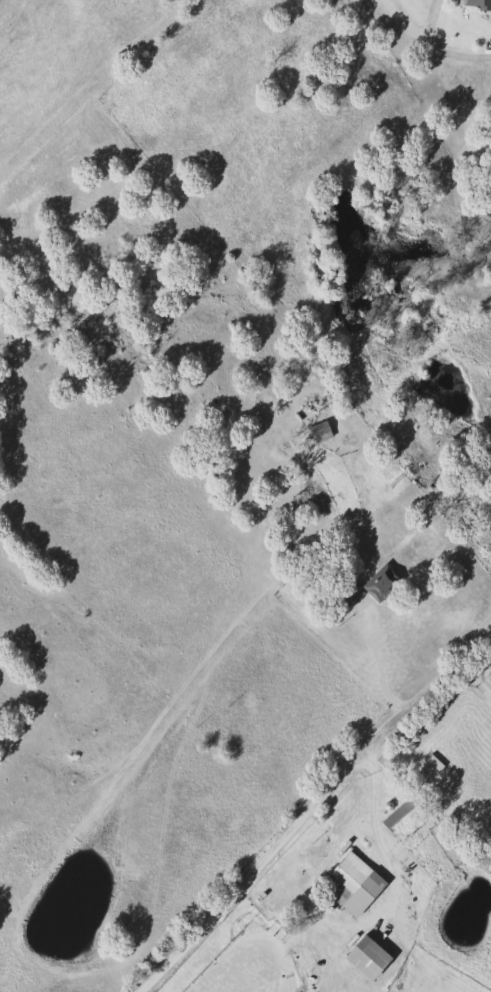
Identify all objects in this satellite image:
building: (476, 4)
road: (408, 17)
road: (437, 47)
building: (318, 431)
building: (381, 582)
road: (379, 668)
road: (473, 673)
road: (310, 803)
road: (378, 819)
building: (350, 883)
building: (364, 957)

